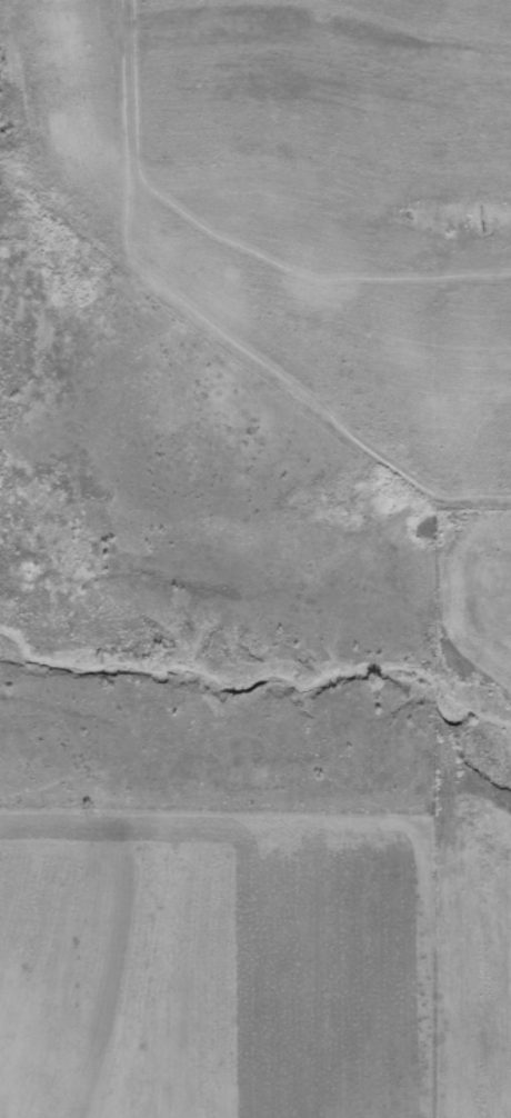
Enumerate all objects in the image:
road: (180, 152)

